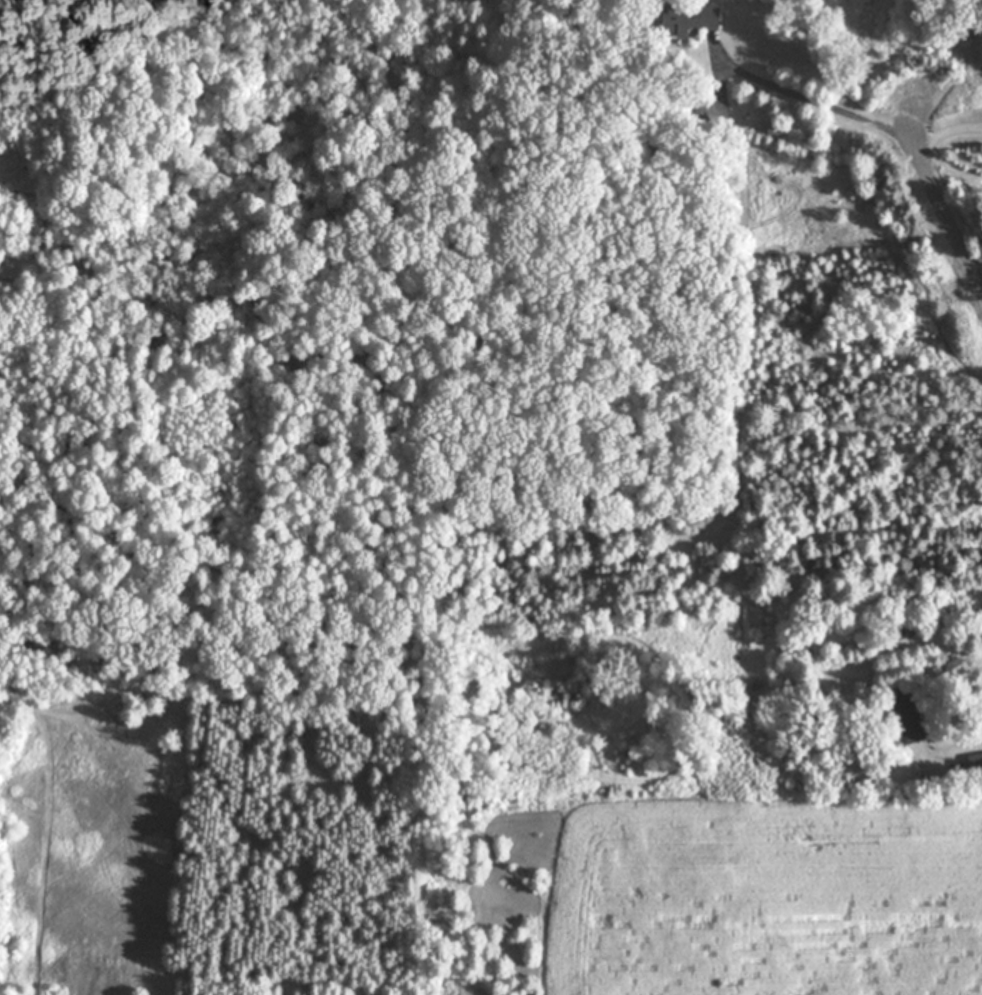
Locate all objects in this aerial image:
building: (689, 18)
road: (862, 118)
road: (940, 206)
building: (909, 722)
road: (963, 749)
building: (976, 765)

